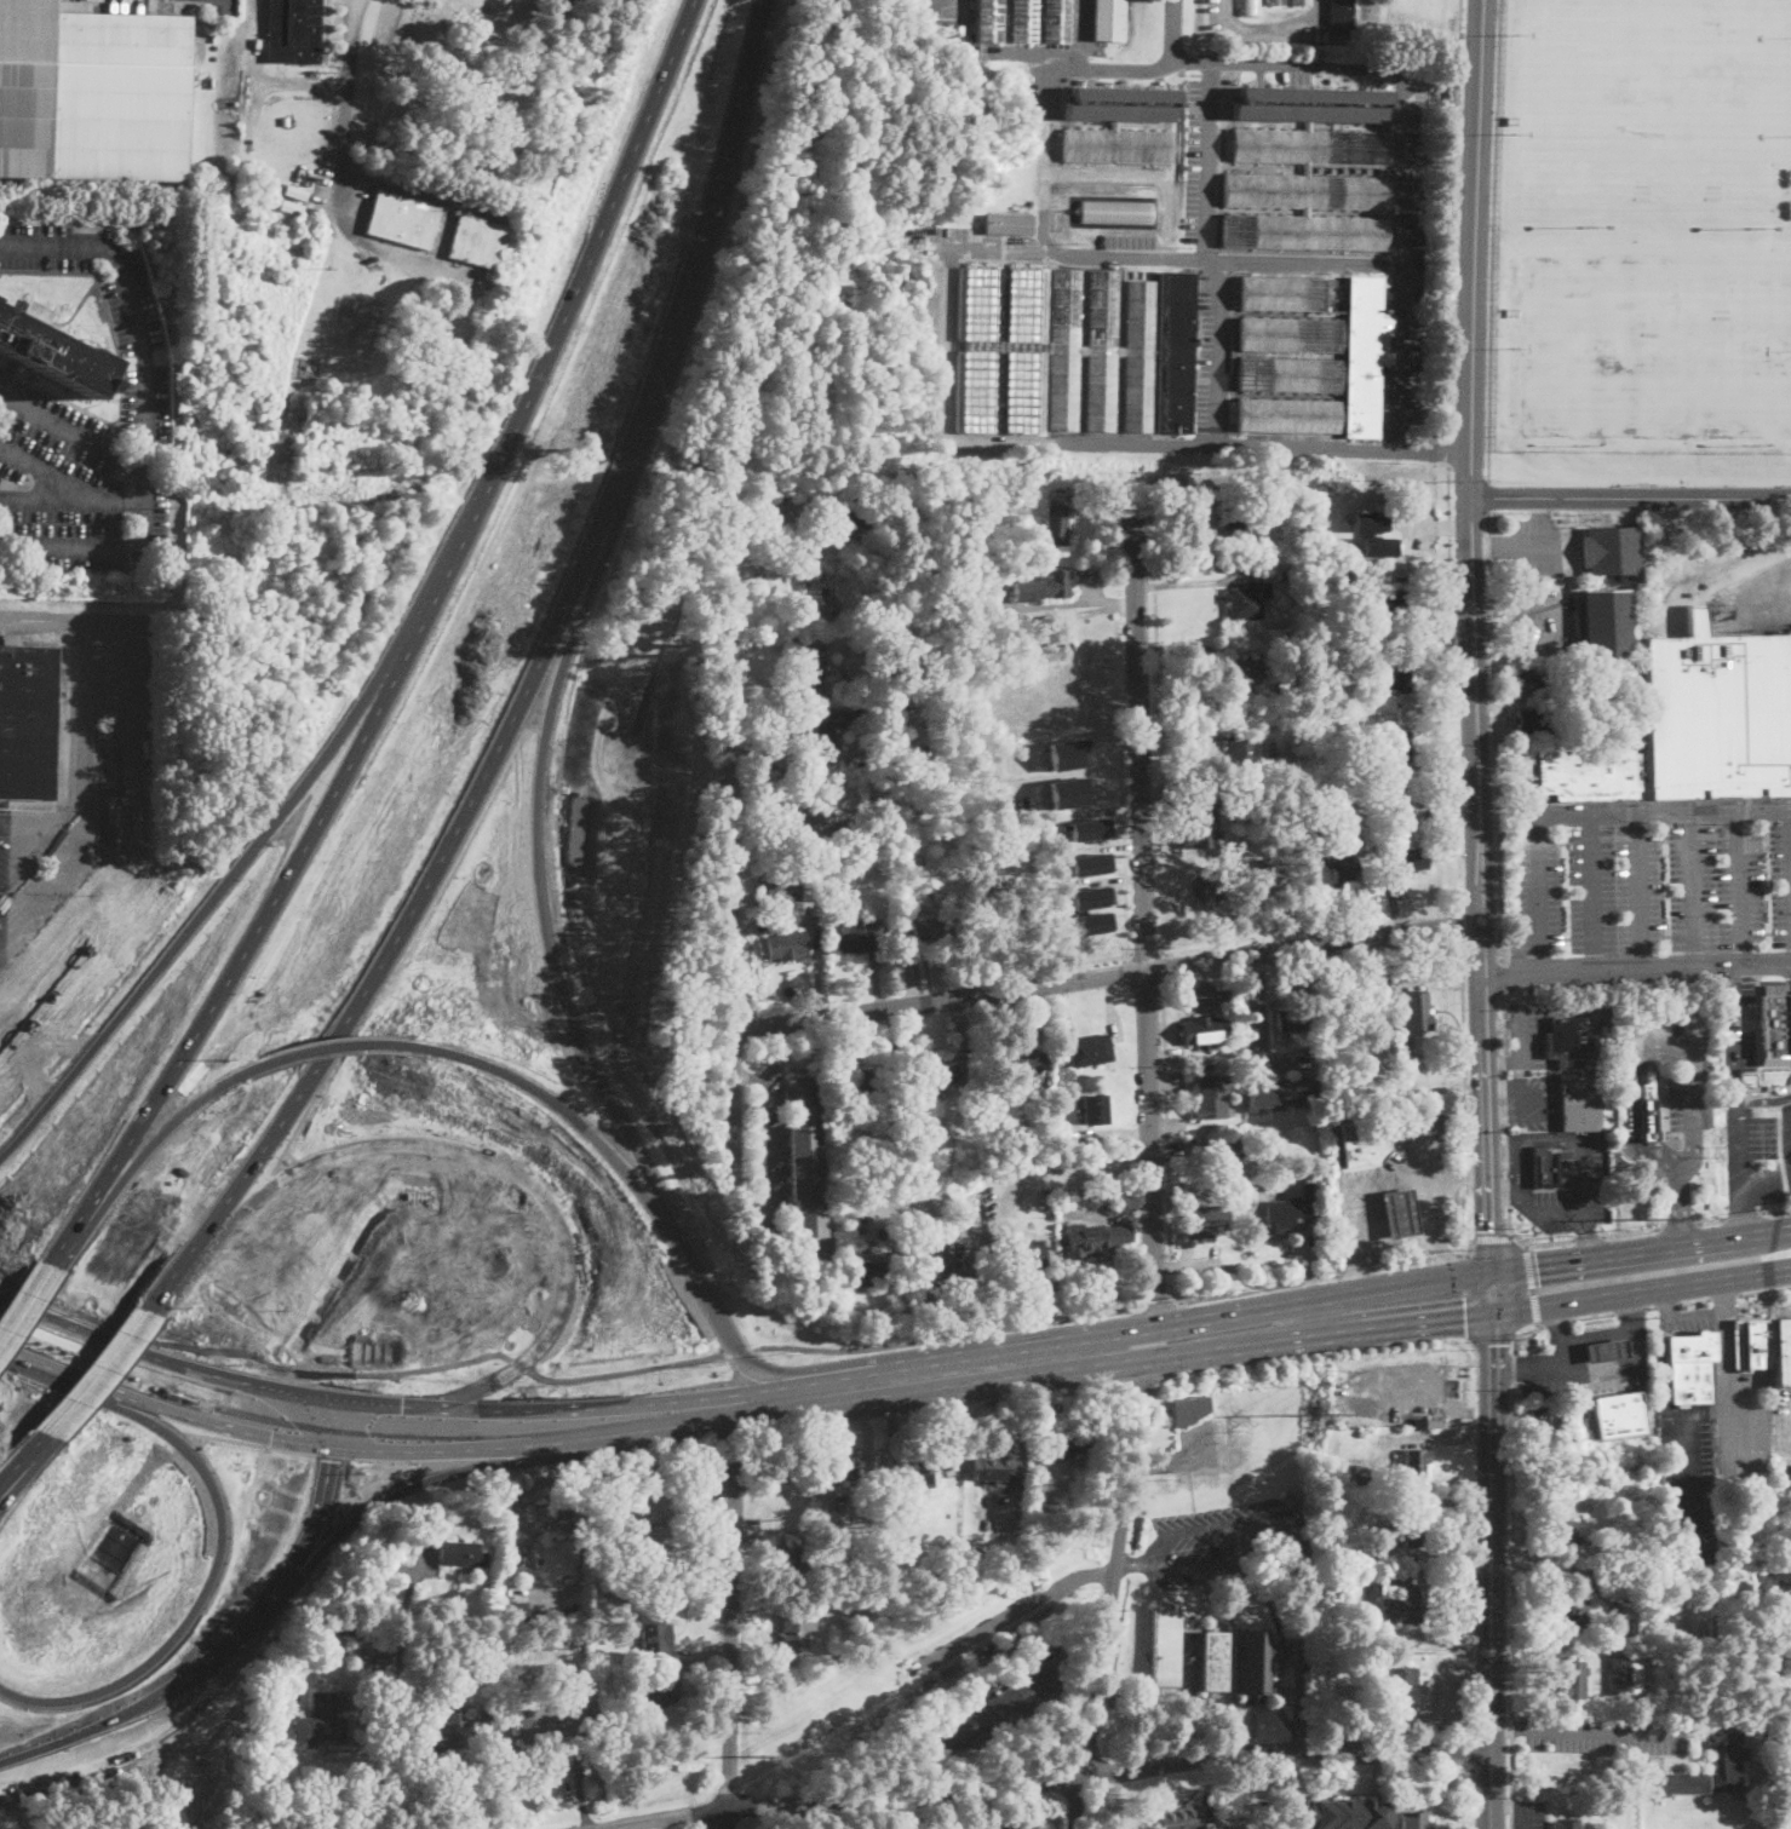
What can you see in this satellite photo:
building: (1301, 1)
building: (1275, 2)
road: (941, 4)
building: (1250, 7)
road: (922, 10)
building: (1342, 16)
building: (1109, 19)
building: (991, 21)
building: (1026, 21)
building: (1057, 21)
building: (941, 29)
road: (1173, 29)
road: (1270, 29)
building: (294, 31)
road: (1080, 34)
road: (1023, 52)
road: (1389, 64)
park: (1655, 74)
building: (92, 93)
park: (486, 97)
building: (1123, 104)
building: (1310, 104)
road: (345, 111)
building: (286, 122)
building: (1118, 144)
building: (1228, 145)
parking lot: (1200, 160)
road: (1210, 160)
road: (1043, 162)
road: (1141, 184)
building: (1308, 189)
building: (295, 191)
building: (291, 206)
building: (1115, 211)
road: (1451, 217)
building: (403, 218)
building: (1009, 224)
road: (1492, 240)
building: (478, 241)
parking lot: (1126, 241)
road: (986, 247)
parking lot: (1408, 252)
road: (947, 257)
road: (1205, 258)
building: (1336, 282)
building: (1284, 293)
building: (1291, 334)
park: (1658, 349)
building: (1054, 350)
building: (51, 351)
building: (1176, 352)
road: (1221, 352)
building: (1365, 356)
building: (1290, 374)
road: (945, 409)
road: (148, 414)
building: (1288, 415)
road: (74, 432)
road: (1264, 445)
road: (1448, 450)
road: (70, 485)
building: (1057, 494)
road: (1630, 496)
road: (1488, 497)
road: (48, 499)
building: (1244, 516)
building: (843, 518)
building: (1370, 520)
building: (1056, 523)
building: (1380, 546)
parking lot: (1539, 546)
building: (1611, 552)
building: (1015, 553)
building: (1004, 554)
building: (1288, 575)
building: (1043, 587)
building: (1246, 602)
building: (817, 604)
building: (982, 606)
building: (1394, 606)
parking lot: (1538, 617)
building: (970, 623)
building: (1605, 625)
building: (1060, 631)
road: (1471, 646)
road: (403, 648)
building: (813, 665)
building: (1351, 666)
building: (1245, 673)
building: (1395, 677)
building: (1529, 681)
road: (522, 685)
building: (946, 688)
building: (1023, 689)
road: (1452, 689)
building: (1555, 695)
building: (1717, 714)
parking lot: (105, 718)
building: (913, 719)
building: (27, 720)
building: (1268, 720)
building: (1531, 721)
road: (67, 723)
building: (1361, 724)
building: (959, 726)
road: (1073, 734)
building: (814, 736)
road: (1494, 737)
building: (1066, 752)
building: (1244, 752)
building: (1400, 753)
building: (1325, 766)
road: (1066, 772)
building: (1594, 773)
road: (133, 780)
building: (871, 790)
building: (1067, 790)
building: (1396, 798)
building: (1258, 804)
building: (816, 809)
road: (1107, 810)
building: (1389, 811)
road: (1580, 811)
road: (226, 817)
building: (1345, 822)
road: (65, 823)
building: (1198, 823)
building: (1092, 828)
building: (851, 829)
building: (1012, 842)
road: (727, 846)
road: (1106, 849)
road: (1124, 849)
building: (1403, 853)
building: (1093, 862)
building: (1338, 869)
building: (1274, 875)
road: (1110, 880)
building: (782, 882)
building: (1209, 884)
parking lot: (1644, 885)
road: (1739, 887)
road: (1694, 888)
road: (1640, 890)
road: (1592, 891)
building: (1095, 896)
parking lot: (56, 898)
building: (1005, 910)
building: (815, 913)
road: (19, 916)
road: (1142, 918)
building: (1095, 921)
road: (1163, 921)
road: (1460, 925)
building: (923, 928)
building: (850, 936)
building: (787, 944)
road: (1148, 949)
road: (1108, 957)
road: (526, 962)
road: (1083, 962)
road: (1164, 965)
road: (1125, 966)
road: (1636, 970)
road: (1259, 974)
road: (1502, 978)
road: (1106, 979)
road: (1205, 983)
parking lot: (1206, 994)
building: (1414, 1010)
building: (1292, 1018)
building: (1774, 1022)
building: (1204, 1029)
road: (1733, 1029)
parking lot: (1740, 1030)
parking lot: (1525, 1035)
road: (774, 1039)
building: (1568, 1041)
road: (1646, 1046)
building: (1091, 1049)
road: (1259, 1049)
road: (1460, 1049)
building: (1033, 1058)
parking lot: (1278, 1059)
building: (1597, 1062)
parking lot: (1680, 1070)
building: (938, 1074)
road: (746, 1076)
road: (1165, 1082)
building: (859, 1083)
road: (1636, 1088)
road: (1766, 1091)
building: (1280, 1092)
building: (1210, 1097)
parking lot: (1533, 1102)
building: (1580, 1103)
road: (1763, 1109)
building: (1093, 1110)
building: (1649, 1110)
road: (1504, 1114)
parking lot: (1770, 1135)
building: (1367, 1140)
road: (763, 1144)
road: (1787, 1144)
parking lot: (769, 1151)
road: (1659, 1152)
building: (1222, 1155)
road: (1502, 1155)
building: (806, 1160)
road: (1585, 1161)
road: (1737, 1164)
road: (1075, 1166)
building: (1544, 1169)
road: (1466, 1172)
road: (1516, 1172)
road: (1365, 1181)
road: (1763, 1184)
road: (1502, 1190)
parking lot: (1575, 1190)
building: (1045, 1198)
road: (1647, 1198)
building: (1290, 1207)
road: (1469, 1209)
road: (1680, 1209)
road: (1778, 1209)
building: (1401, 1212)
road: (1545, 1214)
power tower: (1666, 1214)
road: (1744, 1215)
building: (1207, 1220)
road: (1711, 1220)
road: (1678, 1225)
road: (1440, 1226)
traffic signals: (1489, 1230)
road: (1491, 1233)
road: (1632, 1233)
building: (1095, 1238)
road: (1590, 1238)
road: (1542, 1242)
building: (1023, 1258)
traffic signals: (1538, 1266)
building: (860, 1270)
building: (946, 1271)
building: (880, 1272)
road: (1333, 1272)
road: (1532, 1286)
road: (1756, 1289)
road: (1470, 1299)
road: (1693, 1300)
road: (1154, 1301)
road: (27, 1304)
road: (1629, 1309)
road: (1632, 1311)
road: (1594, 1315)
road: (1219, 1317)
traffic signals: (1464, 1321)
road: (395, 1322)
road: (1556, 1322)
road: (1558, 1322)
road: (957, 1333)
road: (1493, 1339)
traffic signals: (1494, 1342)
building: (1763, 1346)
building: (1606, 1348)
gas station: (1608, 1348)
road: (1637, 1348)
road: (1222, 1352)
road: (201, 1365)
building: (1690, 1367)
road: (1509, 1369)
road: (99, 1371)
road: (195, 1409)
traffic signals: (369, 1410)
building: (1189, 1410)
power tower: (1339, 1410)
road: (1698, 1411)
building: (1619, 1415)
road: (522, 1419)
building: (1420, 1421)
traffic signals: (424, 1422)
building: (1434, 1423)
road: (1751, 1434)
road: (1430, 1437)
building: (1542, 1437)
building: (1063, 1442)
road: (524, 1446)
traffic signals: (236, 1456)
road: (1173, 1459)
road: (25, 1461)
building: (929, 1462)
building: (1417, 1462)
building: (843, 1466)
building: (994, 1469)
building: (1370, 1476)
road: (1684, 1488)
parking lot: (1689, 1491)
road: (254, 1497)
building: (1286, 1501)
building: (901, 1506)
building: (561, 1508)
road: (360, 1511)
building: (655, 1511)
road: (1295, 1528)
building: (1412, 1528)
building: (1562, 1534)
parking lot: (1217, 1541)
building: (461, 1553)
building: (1554, 1557)
building: (787, 1560)
road: (1491, 1560)
road: (1131, 1565)
road: (1514, 1569)
road: (1109, 1595)
building: (1402, 1603)
building: (517, 1610)
building: (1572, 1610)
road: (1017, 1611)
building: (654, 1633)
building: (1677, 1633)
building: (796, 1634)
building: (1657, 1634)
building: (553, 1640)
building: (527, 1643)
road: (729, 1643)
building: (1166, 1647)
road: (1304, 1647)
building: (1215, 1662)
building: (1257, 1664)
building: (381, 1667)
building: (1625, 1674)
building: (1572, 1680)
building: (1414, 1685)
road: (150, 1687)
building: (654, 1691)
building: (998, 1710)
building: (321, 1722)
building: (550, 1722)
road: (1505, 1726)
road: (1605, 1727)
building: (450, 1733)
parking lot: (1606, 1735)
power tower: (773, 1750)
road: (1473, 1756)
road: (1385, 1760)
road: (395, 1762)
building: (1728, 1765)
road: (495, 1775)
road: (1278, 1775)
road: (1039, 1789)
building: (1572, 1804)
road: (1505, 1807)
building: (1342, 1813)
parking lot: (1528, 1813)
road: (1522, 1814)
building: (1179, 1818)
building: (1265, 1818)
building: (1416, 1818)
road: (712, 1821)
building: (1566, 1824)
building: (1210, 1825)
building: (1251, 1827)

